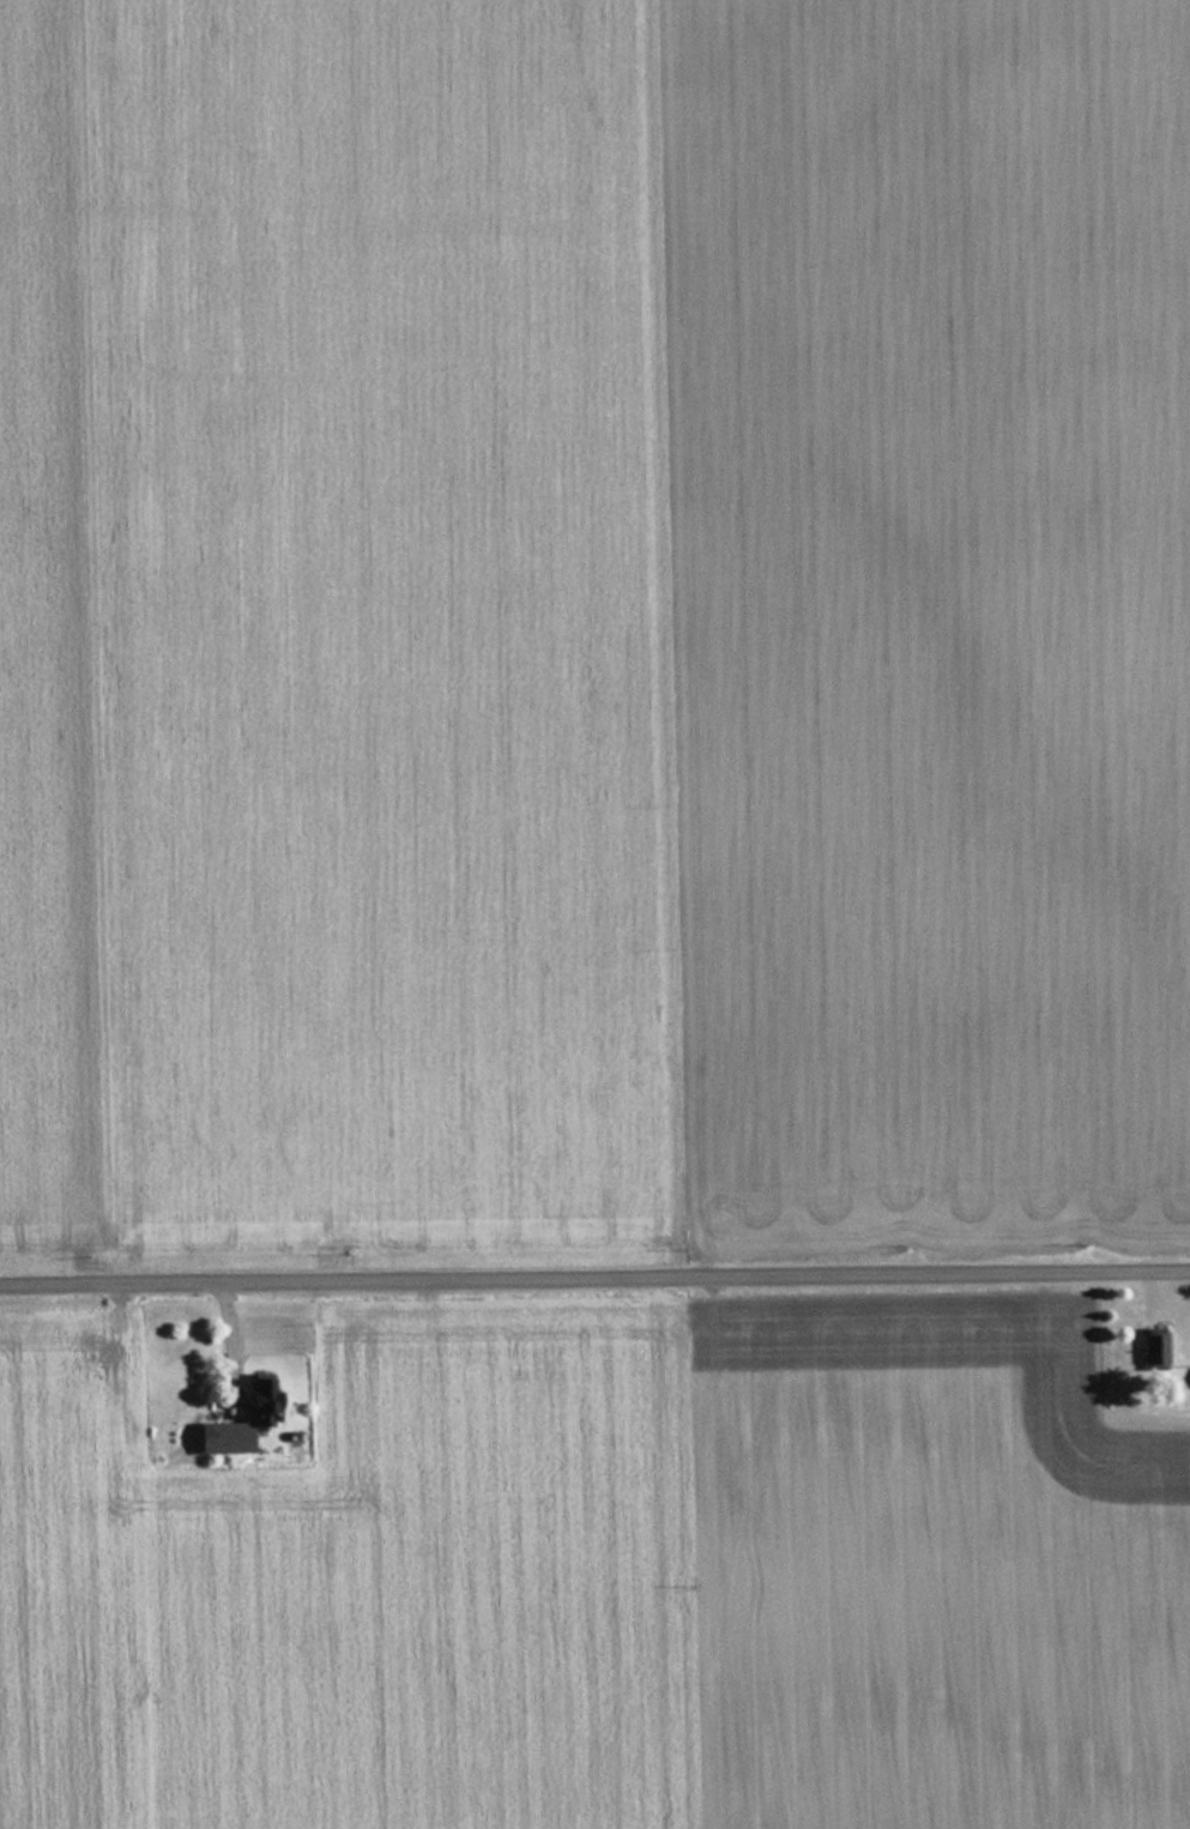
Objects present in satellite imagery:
road: (594, 1273)
building: (1153, 1348)
building: (260, 1386)

